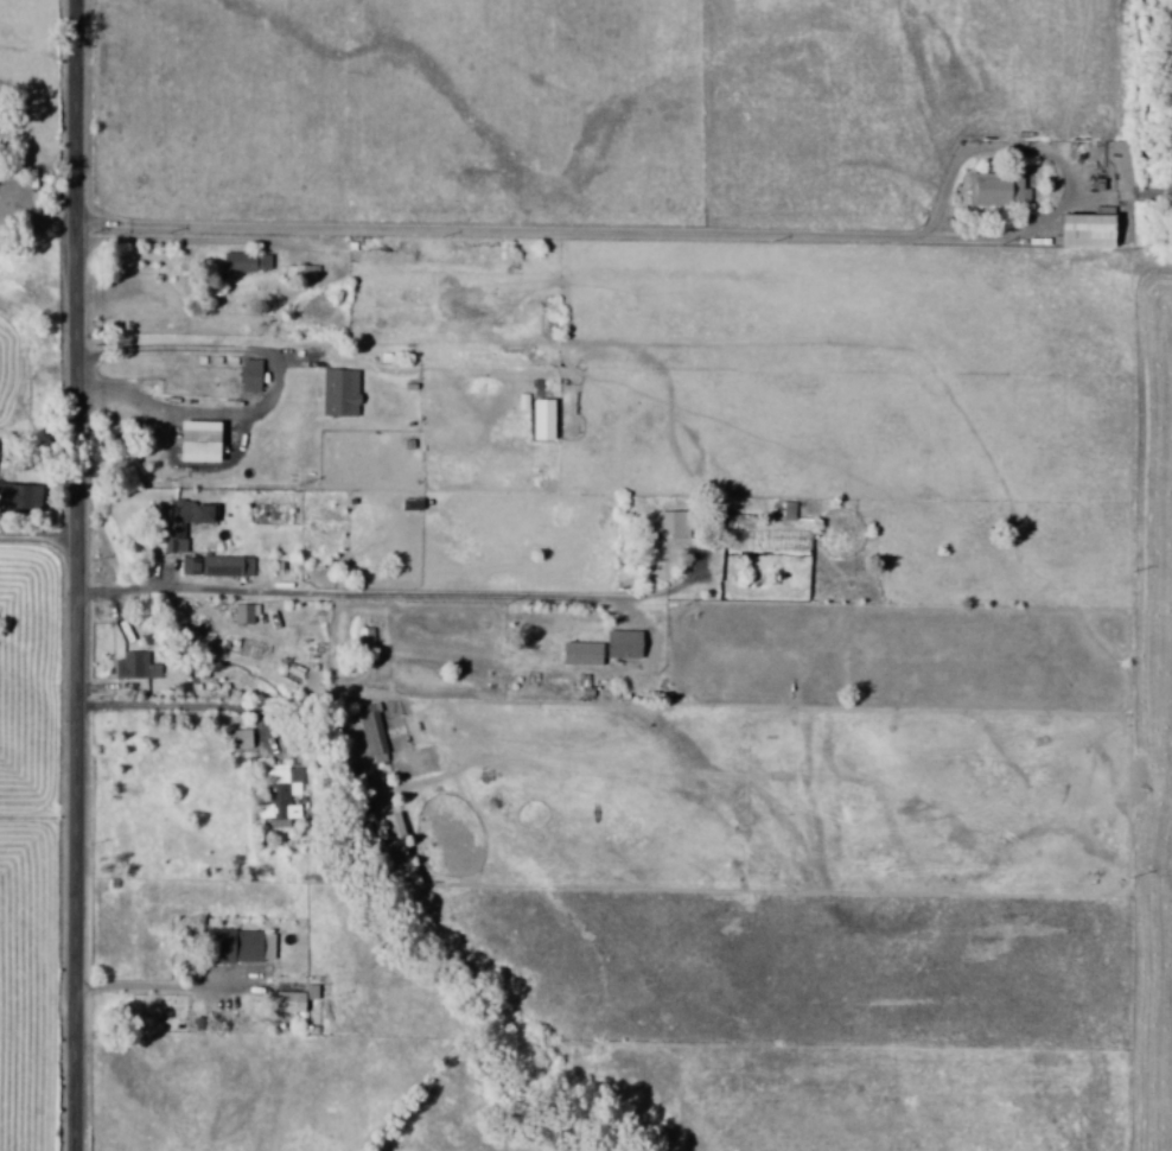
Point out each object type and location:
building: (993, 191)
building: (1076, 230)
road: (544, 231)
building: (248, 262)
building: (253, 375)
building: (342, 392)
building: (544, 419)
building: (203, 440)
building: (21, 496)
building: (784, 510)
building: (187, 521)
building: (674, 524)
building: (192, 566)
building: (229, 566)
road: (83, 575)
road: (391, 597)
building: (246, 613)
building: (626, 643)
building: (585, 654)
building: (136, 666)
building: (372, 733)
building: (242, 739)
building: (282, 796)
building: (246, 946)
building: (297, 999)

